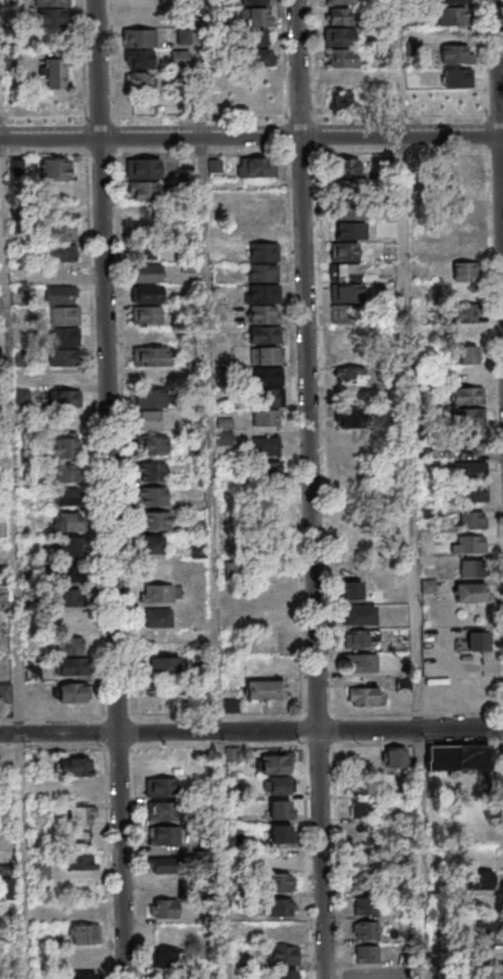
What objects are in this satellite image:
building: (452, 1)
building: (52, 2)
building: (255, 2)
building: (340, 2)
building: (339, 15)
building: (452, 15)
building: (52, 16)
building: (253, 16)
building: (183, 35)
building: (339, 35)
building: (253, 36)
building: (139, 37)
building: (456, 54)
building: (341, 56)
building: (179, 57)
building: (253, 57)
building: (140, 58)
road: (3, 68)
building: (56, 72)
road: (284, 76)
road: (313, 76)
building: (342, 77)
building: (457, 77)
building: (139, 79)
building: (255, 99)
building: (340, 100)
road: (251, 115)
road: (499, 119)
road: (251, 136)
road: (251, 152)
building: (256, 166)
building: (346, 167)
building: (143, 168)
building: (465, 168)
building: (55, 169)
building: (347, 187)
building: (143, 190)
building: (60, 211)
building: (60, 232)
building: (145, 246)
building: (463, 250)
building: (266, 252)
building: (347, 264)
building: (464, 270)
building: (147, 272)
building: (264, 273)
building: (62, 293)
building: (146, 293)
building: (462, 312)
building: (147, 314)
building: (468, 354)
building: (266, 355)
building: (150, 356)
road: (492, 356)
building: (62, 357)
building: (350, 367)
road: (92, 373)
road: (122, 373)
building: (267, 378)
building: (466, 395)
building: (64, 398)
building: (148, 398)
building: (466, 416)
building: (267, 418)
building: (150, 419)
building: (63, 420)
building: (355, 421)
building: (469, 441)
building: (154, 444)
building: (65, 446)
building: (265, 447)
building: (469, 469)
building: (268, 470)
building: (153, 472)
building: (68, 473)
road: (109, 489)
road: (213, 489)
road: (313, 489)
road: (414, 489)
building: (471, 493)
building: (67, 496)
building: (154, 496)
building: (354, 517)
building: (471, 519)
building: (156, 520)
building: (69, 522)
building: (467, 543)
building: (152, 544)
building: (68, 546)
road: (17, 558)
road: (298, 565)
road: (327, 565)
building: (470, 568)
building: (156, 569)
building: (68, 573)
building: (361, 592)
building: (472, 592)
building: (156, 593)
building: (68, 596)
building: (360, 616)
building: (158, 620)
building: (70, 621)
building: (362, 639)
building: (274, 640)
building: (476, 640)
building: (71, 645)
building: (362, 663)
building: (70, 666)
building: (161, 667)
building: (265, 689)
building: (403, 691)
building: (72, 692)
building: (5, 694)
building: (363, 696)
road: (251, 715)
road: (251, 731)
road: (251, 745)
building: (395, 756)
building: (457, 757)
building: (276, 763)
building: (162, 766)
building: (73, 767)
building: (280, 786)
building: (364, 786)
building: (165, 789)
building: (77, 791)
building: (280, 809)
building: (362, 809)
building: (167, 813)
building: (80, 816)
building: (279, 834)
building: (167, 836)
building: (79, 837)
building: (364, 859)
building: (81, 862)
road: (107, 862)
road: (136, 863)
building: (165, 867)
building: (41, 872)
building: (479, 880)
building: (277, 883)
building: (365, 884)
building: (166, 889)
building: (369, 907)
building: (279, 908)
building: (164, 909)
building: (485, 929)
building: (371, 931)
building: (83, 934)
building: (282, 955)
building: (369, 955)
building: (163, 959)
building: (482, 972)
building: (84, 975)
building: (290, 975)
building: (371, 975)

